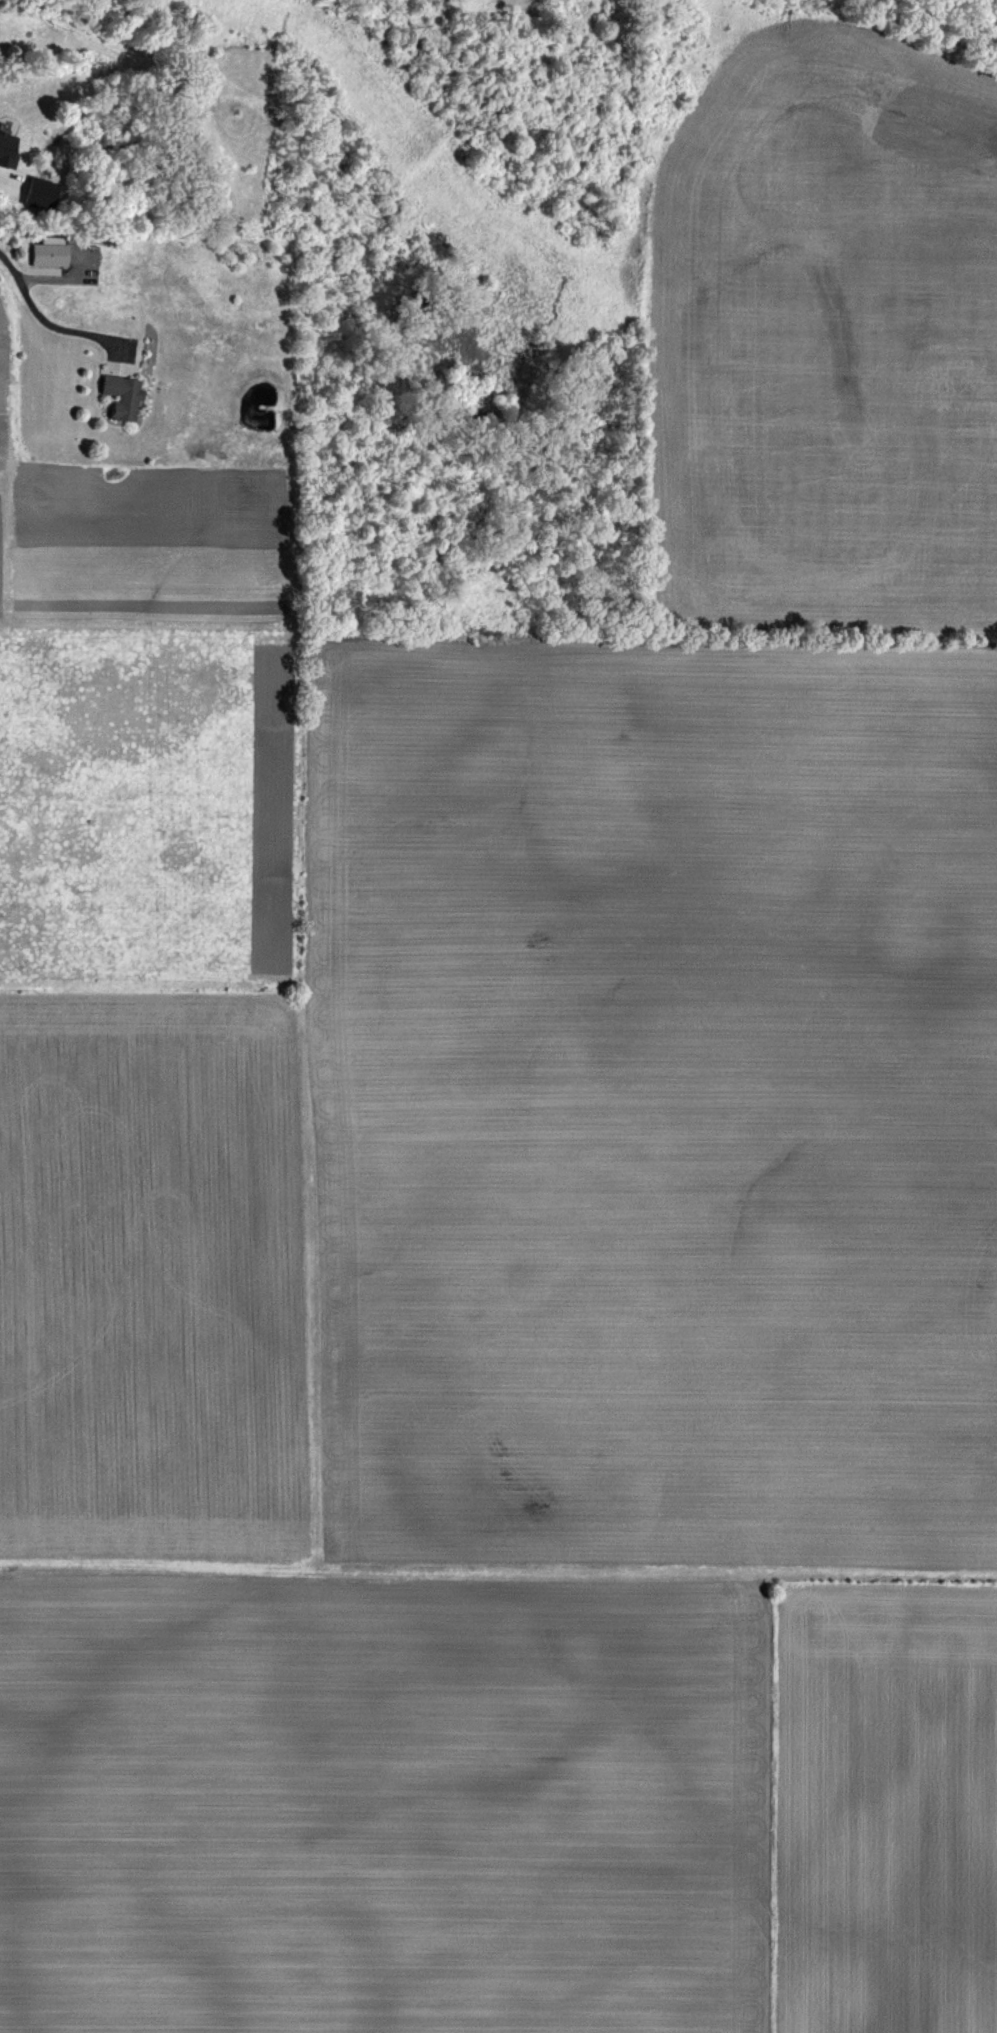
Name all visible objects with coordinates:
building: (5, 147)
building: (44, 254)
road: (46, 315)
building: (117, 396)
crop: (531, 1173)

